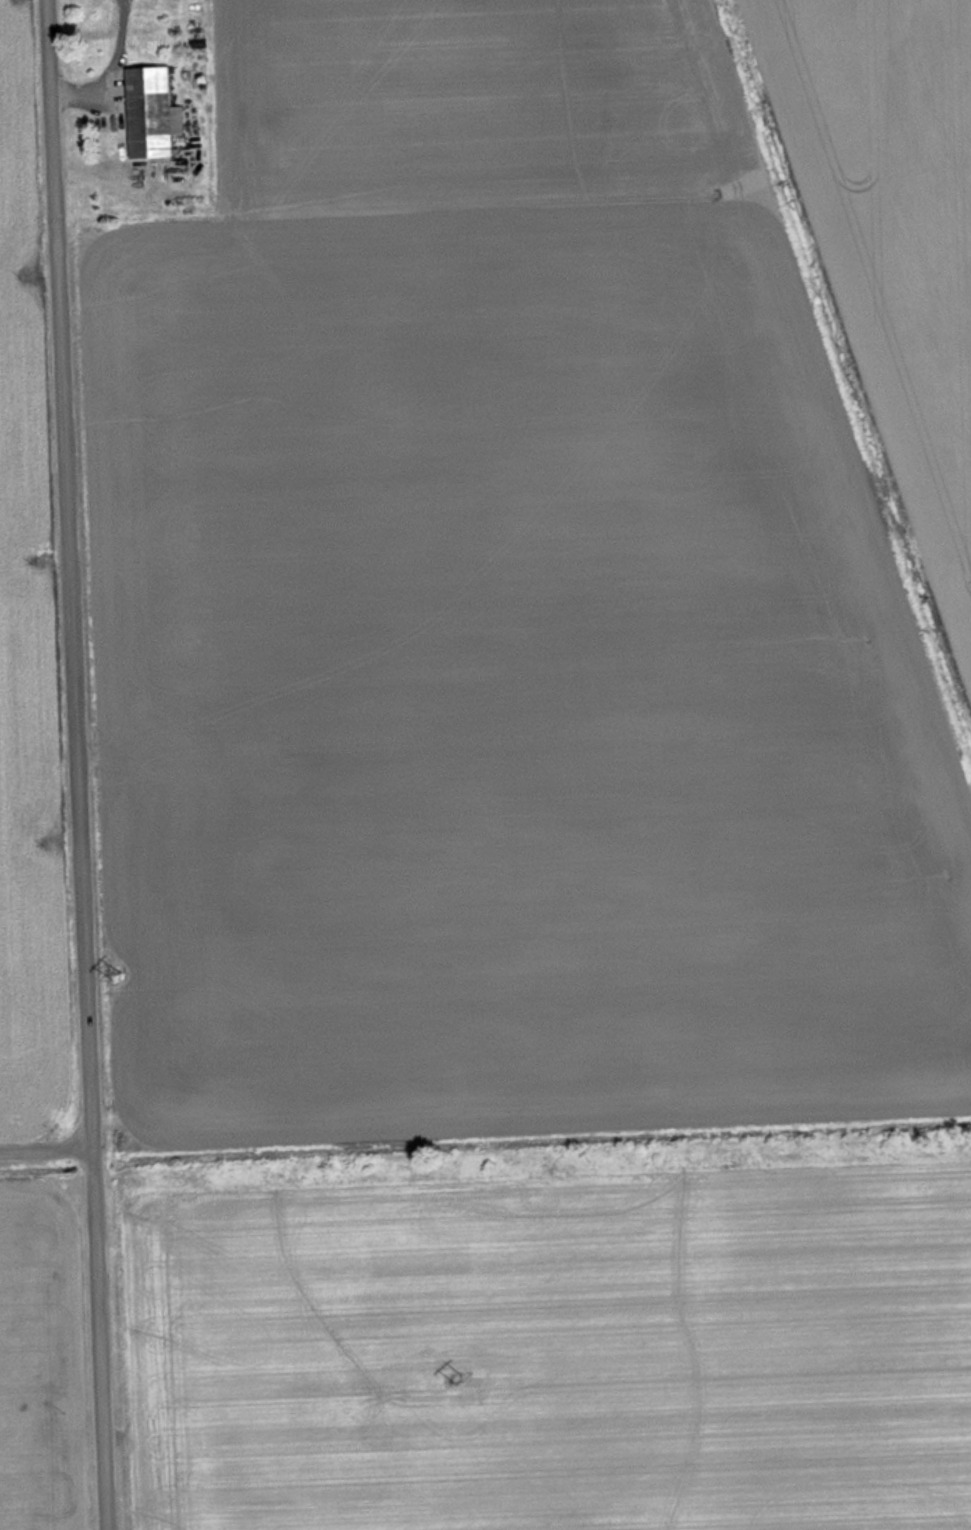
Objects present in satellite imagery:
building: (157, 113)
road: (74, 764)
power tower: (119, 972)
road: (44, 1159)
power tower: (461, 1379)

